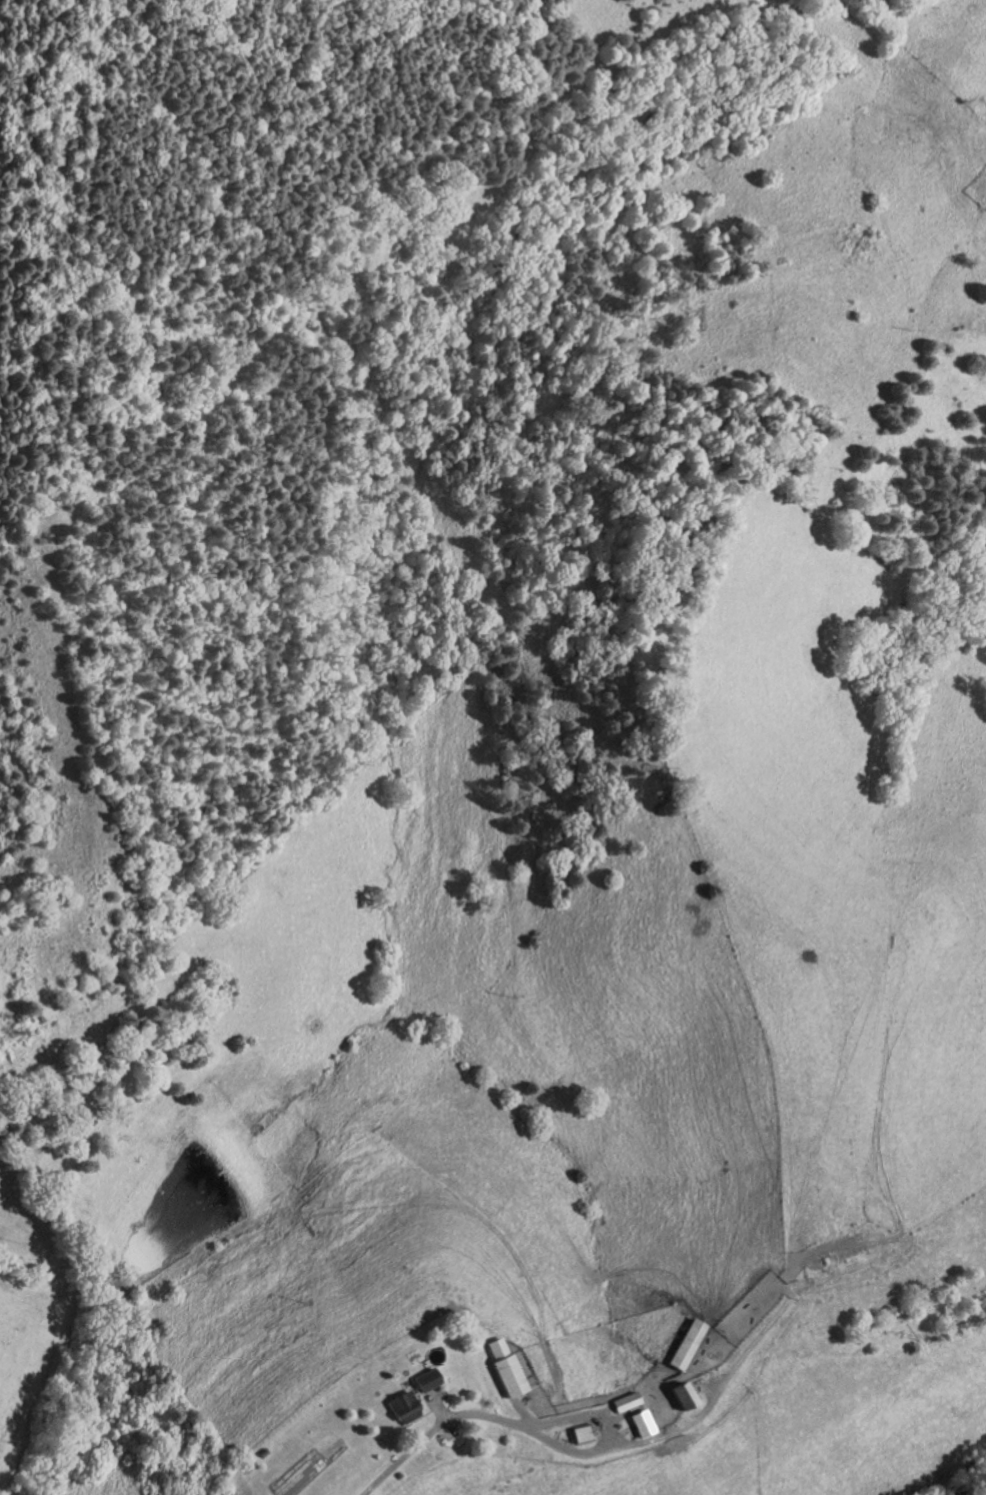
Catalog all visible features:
road: (824, 1249)
building: (686, 1344)
building: (502, 1368)
building: (424, 1379)
road: (705, 1388)
building: (677, 1395)
building: (687, 1396)
building: (623, 1402)
building: (400, 1407)
road: (437, 1412)
road: (523, 1412)
road: (421, 1414)
road: (580, 1416)
building: (638, 1423)
building: (577, 1433)
road: (624, 1445)

